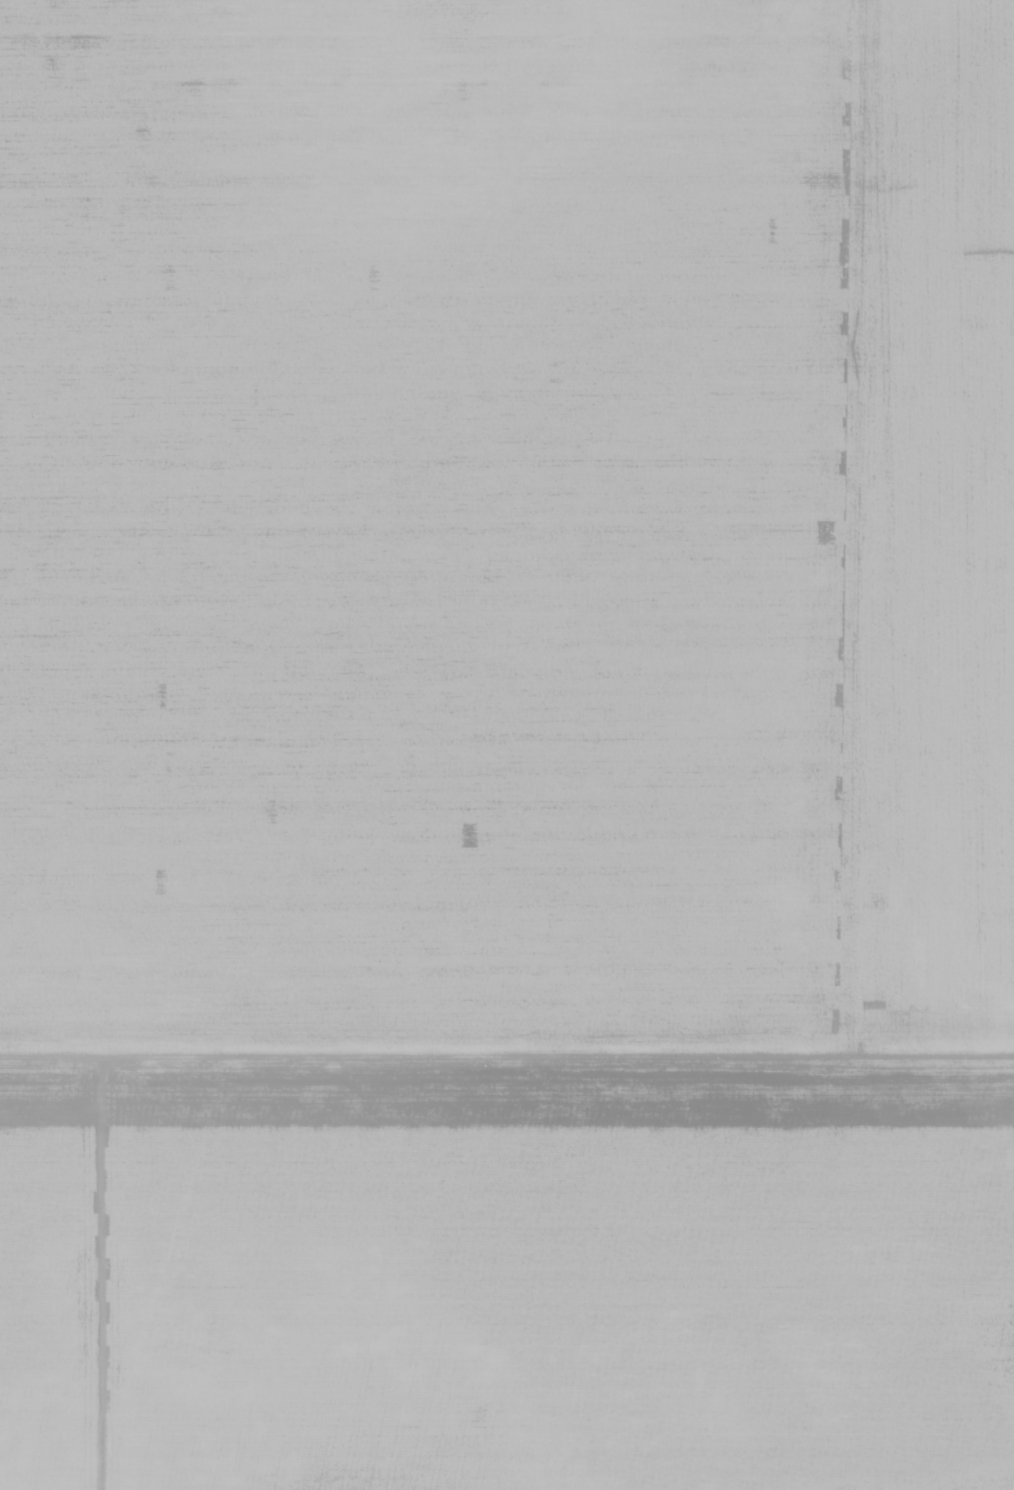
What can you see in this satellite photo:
road: (507, 1051)
road: (98, 1273)

